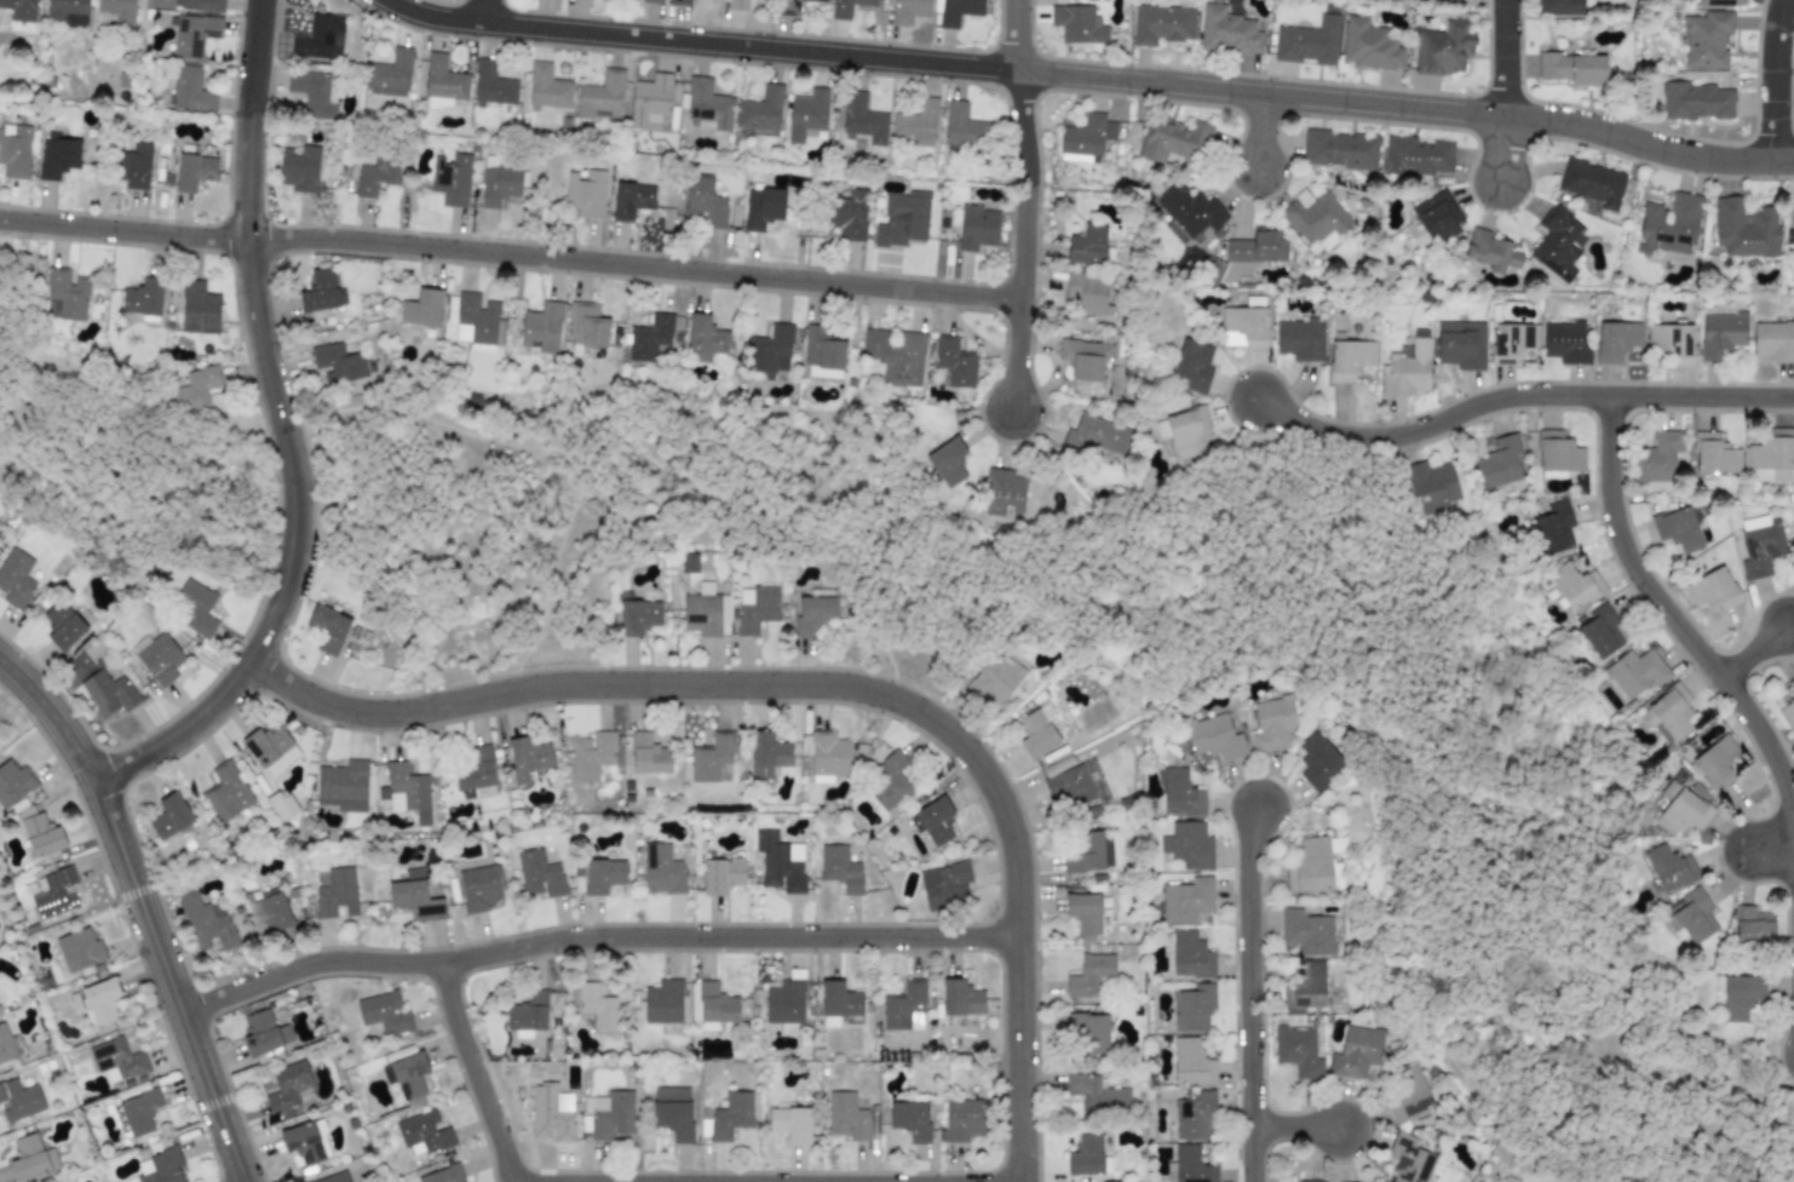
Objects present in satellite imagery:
building: (651, 1)
building: (682, 2)
building: (1718, 2)
building: (199, 5)
building: (737, 5)
building: (792, 6)
building: (846, 7)
building: (1559, 7)
building: (21, 10)
road: (482, 11)
building: (909, 11)
building: (958, 11)
building: (67, 12)
building: (1077, 24)
building: (1162, 24)
building: (1226, 30)
building: (194, 34)
road: (1014, 34)
building: (320, 38)
building: (1706, 39)
building: (1307, 41)
building: (1369, 45)
road: (761, 47)
building: (1442, 48)
road: (253, 58)
road: (1503, 58)
building: (1571, 68)
building: (390, 74)
building: (443, 80)
road: (1772, 80)
building: (491, 85)
building: (546, 88)
building: (190, 90)
building: (312, 93)
building: (602, 96)
road: (1322, 98)
building: (649, 99)
building: (1696, 101)
building: (706, 105)
building: (760, 109)
building: (806, 115)
building: (863, 120)
building: (916, 122)
building: (962, 126)
road: (1022, 127)
road: (1260, 131)
building: (1086, 138)
building: (1173, 138)
road: (1648, 145)
building: (1339, 149)
road: (1501, 149)
building: (15, 150)
building: (1416, 156)
building: (57, 157)
building: (133, 166)
building: (299, 168)
building: (194, 171)
building: (374, 176)
building: (450, 178)
building: (1592, 182)
building: (499, 184)
building: (585, 193)
building: (631, 200)
building: (705, 202)
building: (761, 207)
building: (1189, 210)
building: (847, 214)
building: (1437, 217)
building: (902, 219)
building: (1316, 219)
building: (1671, 223)
building: (976, 226)
building: (1744, 228)
building: (1793, 235)
road: (1029, 243)
building: (1558, 243)
building: (1087, 245)
building: (1257, 246)
building: (1490, 252)
road: (513, 256)
building: (320, 291)
building: (1089, 293)
building: (64, 294)
building: (143, 298)
building: (197, 308)
building: (421, 308)
building: (478, 322)
building: (586, 325)
building: (541, 327)
building: (1244, 327)
building: (1720, 333)
building: (649, 338)
building: (703, 338)
building: (1299, 338)
building: (1617, 340)
building: (1511, 342)
building: (1565, 342)
building: (1672, 342)
building: (1773, 342)
building: (1460, 344)
building: (770, 351)
building: (822, 354)
building: (895, 355)
road: (1023, 356)
building: (1083, 358)
building: (1350, 358)
building: (954, 361)
building: (1191, 366)
building: (339, 367)
building: (195, 390)
road: (1702, 397)
road: (1439, 430)
building: (1186, 432)
building: (1097, 436)
building: (1557, 454)
building: (1714, 454)
building: (1770, 457)
building: (1657, 458)
building: (948, 461)
building: (1499, 463)
building: (1431, 486)
building: (1002, 492)
road: (301, 494)
building: (1553, 526)
building: (1678, 529)
building: (1760, 545)
building: (16, 579)
building: (1575, 585)
building: (1712, 590)
building: (192, 607)
building: (755, 608)
building: (705, 610)
building: (815, 614)
road: (1672, 615)
building: (638, 616)
building: (62, 625)
building: (327, 629)
building: (1600, 630)
road: (1755, 653)
building: (157, 656)
building: (1633, 672)
building: (994, 678)
road: (835, 681)
building: (108, 693)
building: (1788, 705)
building: (1668, 713)
building: (1272, 723)
building: (1037, 731)
building: (1213, 736)
building: (271, 748)
building: (590, 754)
building: (649, 754)
building: (766, 754)
building: (824, 754)
building: (528, 757)
building: (709, 757)
building: (1317, 761)
building: (1715, 762)
building: (476, 773)
building: (889, 781)
building: (13, 782)
building: (1065, 782)
building: (343, 785)
building: (226, 791)
building: (407, 792)
building: (1180, 793)
building: (281, 804)
building: (1681, 814)
building: (169, 816)
building: (935, 820)
building: (41, 834)
building: (1188, 845)
road: (1771, 845)
building: (1085, 854)
building: (778, 862)
building: (1310, 866)
building: (839, 867)
building: (1668, 867)
building: (661, 870)
building: (539, 873)
building: (603, 874)
building: (720, 876)
building: (944, 884)
building: (478, 888)
building: (54, 893)
building: (337, 894)
building: (414, 896)
building: (1185, 900)
road: (143, 908)
building: (266, 911)
building: (1083, 912)
building: (1691, 917)
building: (206, 922)
building: (1753, 926)
building: (1306, 931)
road: (593, 934)
building: (79, 949)
building: (1190, 954)
building: (1089, 974)
building: (1305, 985)
road: (1246, 992)
building: (1741, 995)
building: (960, 998)
building: (97, 1000)
building: (662, 1002)
building: (784, 1002)
building: (838, 1002)
building: (711, 1003)
building: (598, 1006)
building: (903, 1006)
building: (1192, 1008)
building: (384, 1012)
building: (527, 1014)
building: (1088, 1031)
building: (5, 1045)
building: (1296, 1051)
building: (1356, 1051)
building: (116, 1060)
building: (1191, 1062)
road: (475, 1072)
building: (409, 1078)
building: (287, 1086)
building: (1408, 1092)
building: (1096, 1094)
building: (19, 1100)
building: (139, 1112)
building: (672, 1112)
building: (548, 1114)
building: (1191, 1114)
building: (730, 1115)
building: (847, 1115)
building: (910, 1119)
building: (962, 1119)
building: (790, 1124)
road: (1293, 1124)
building: (422, 1134)
building: (305, 1142)
building: (1085, 1155)
building: (30, 1158)
building: (1408, 1159)
building: (1191, 1165)
building: (162, 1166)
building: (443, 1175)
building: (334, 1177)
road: (823, 1181)
road: (973, 1181)
building: (1311, 1181)

